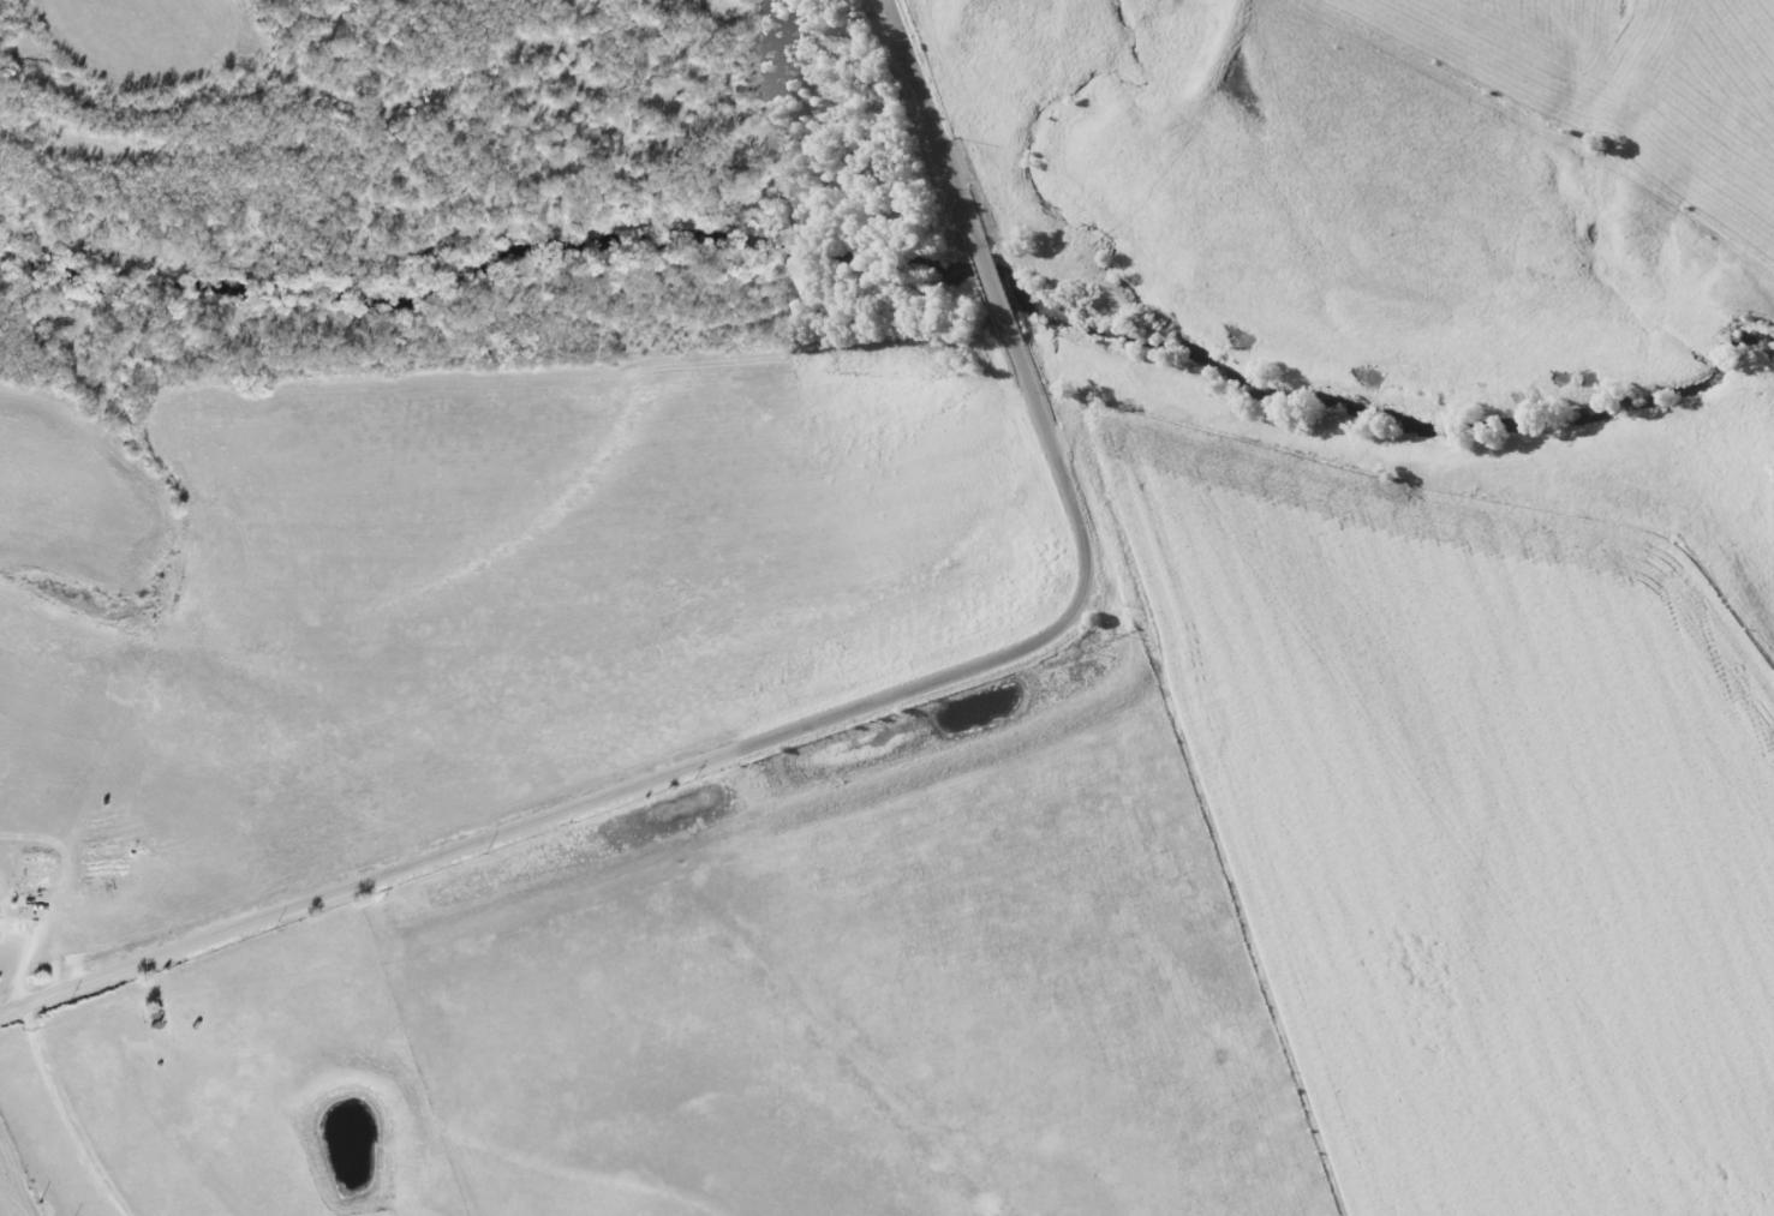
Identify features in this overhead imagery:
road: (846, 711)
road: (76, 1115)

